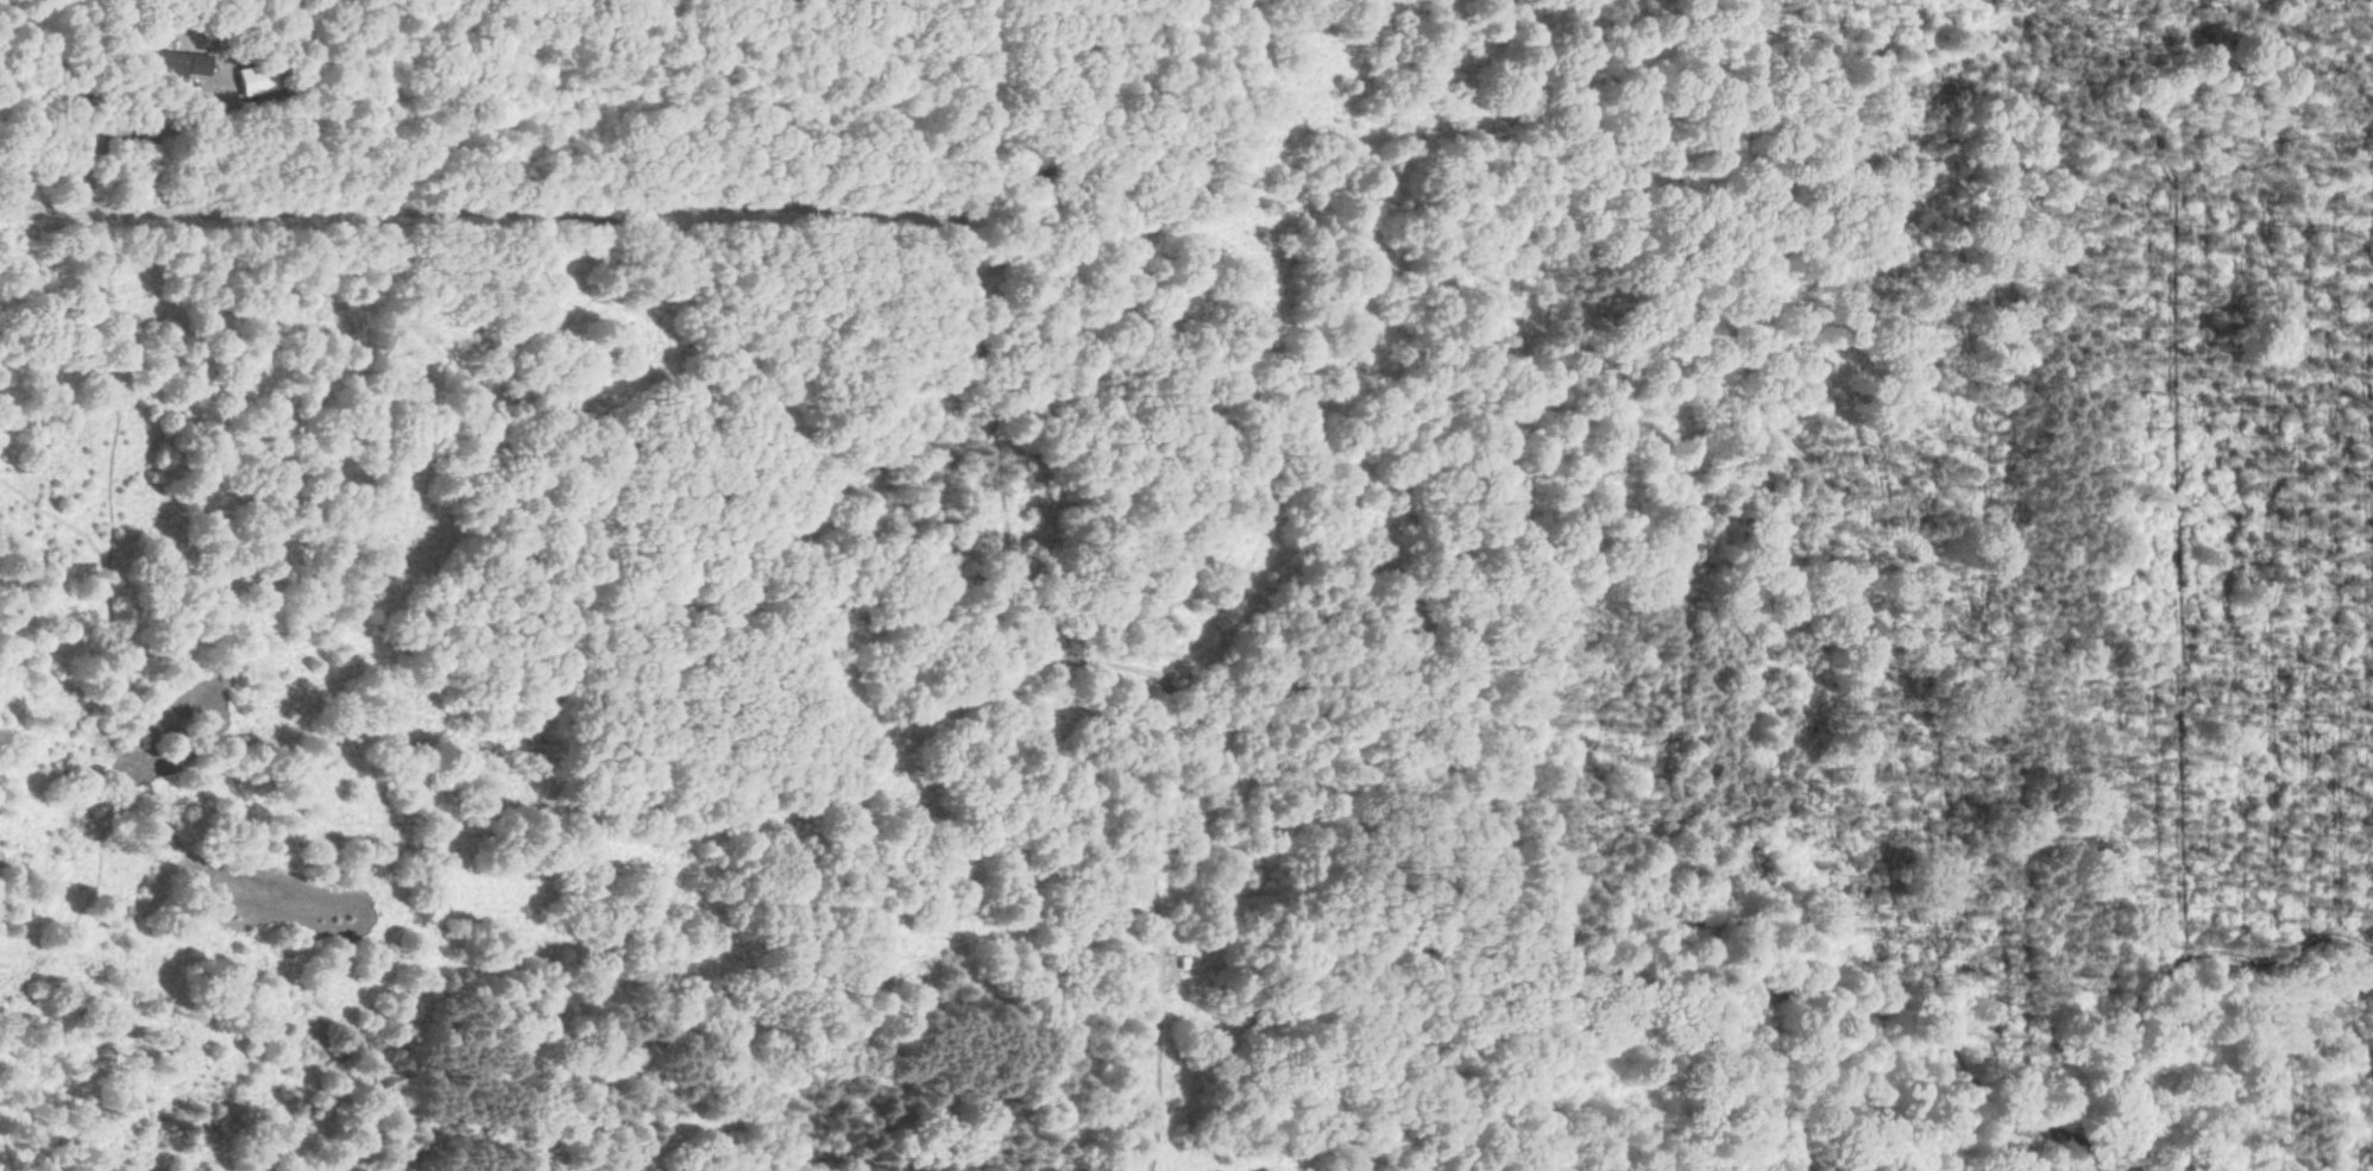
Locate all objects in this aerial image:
road: (599, 219)

